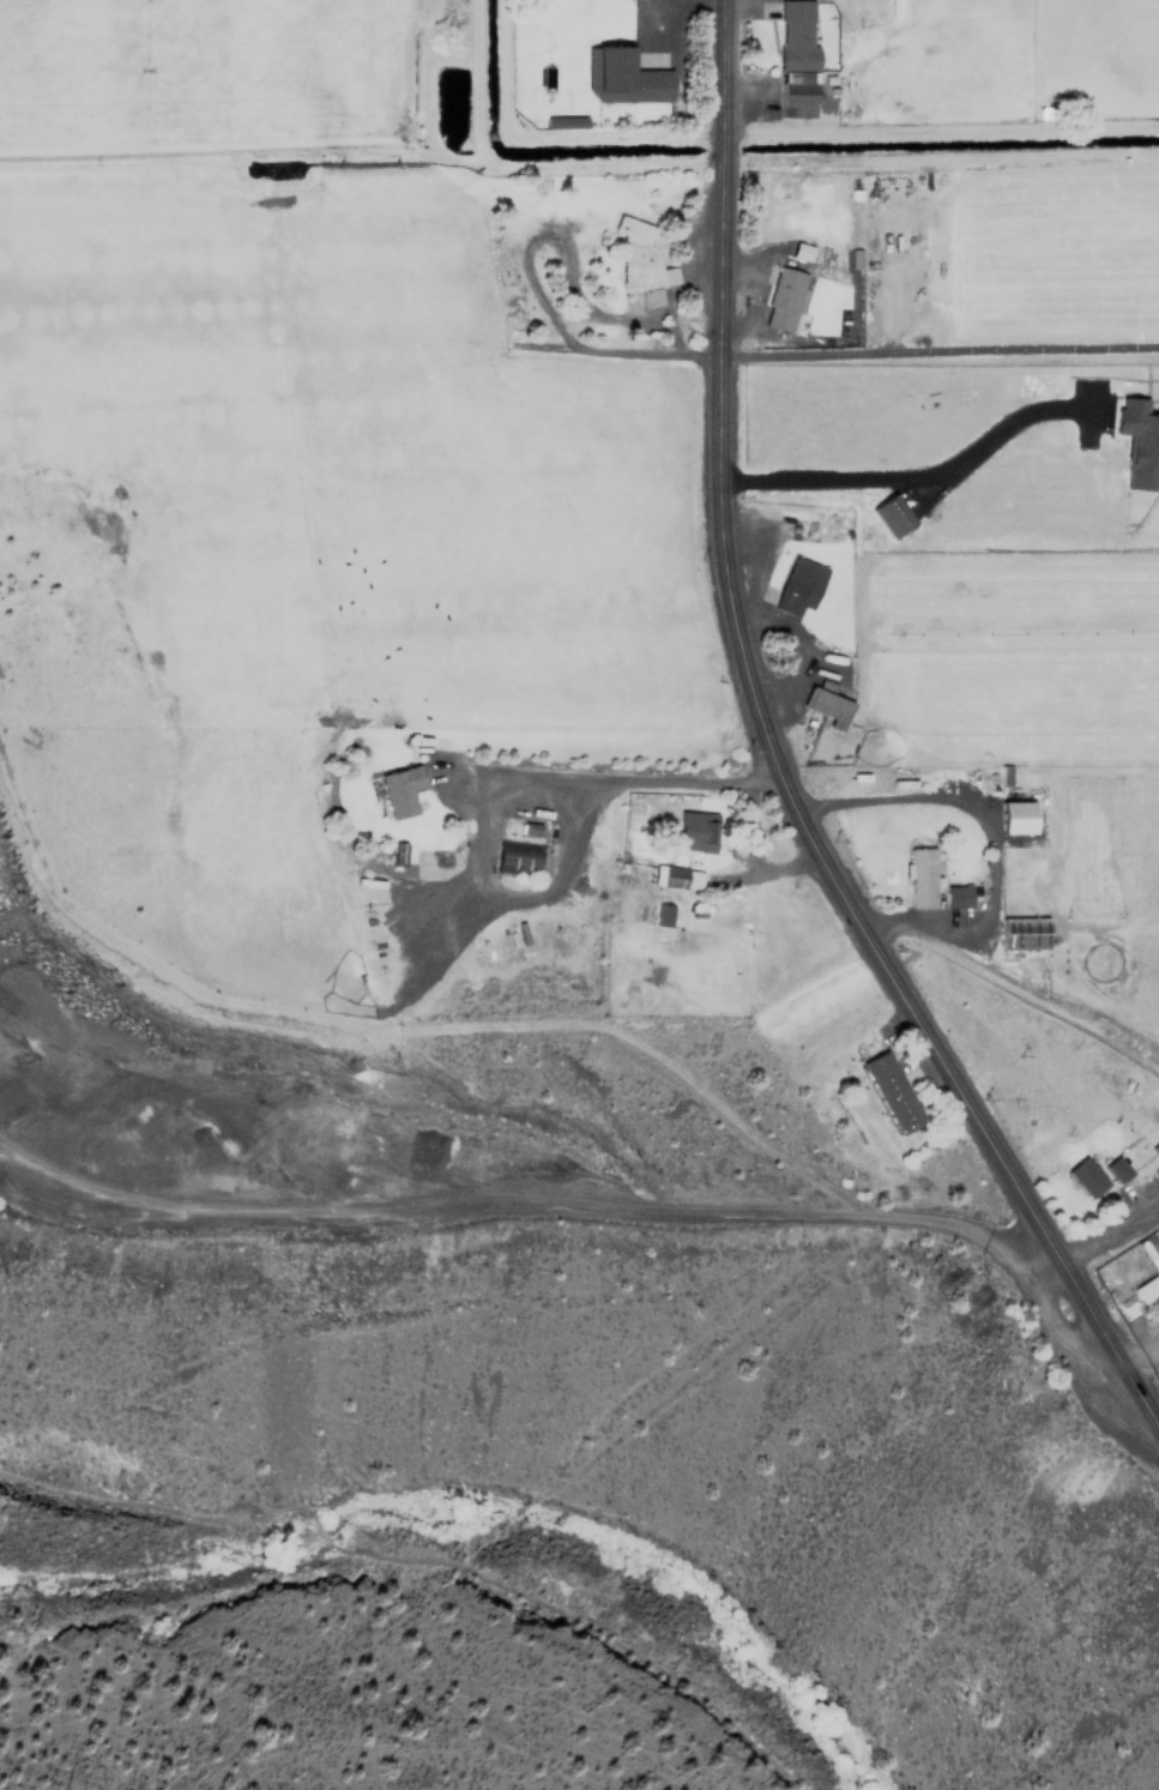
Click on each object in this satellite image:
building: (795, 59)
building: (620, 77)
road: (550, 134)
building: (641, 260)
building: (781, 300)
road: (941, 351)
building: (1135, 423)
building: (888, 516)
building: (796, 584)
road: (755, 699)
building: (826, 706)
road: (620, 782)
building: (399, 789)
building: (1002, 818)
building: (687, 828)
building: (514, 856)
building: (666, 875)
building: (918, 876)
building: (955, 896)
building: (663, 914)
building: (1021, 932)
building: (889, 1091)
building: (1115, 1167)
building: (1085, 1180)
building: (1145, 1289)
road: (1124, 1376)
road: (157, 1508)
road: (318, 1531)
road: (585, 1623)

